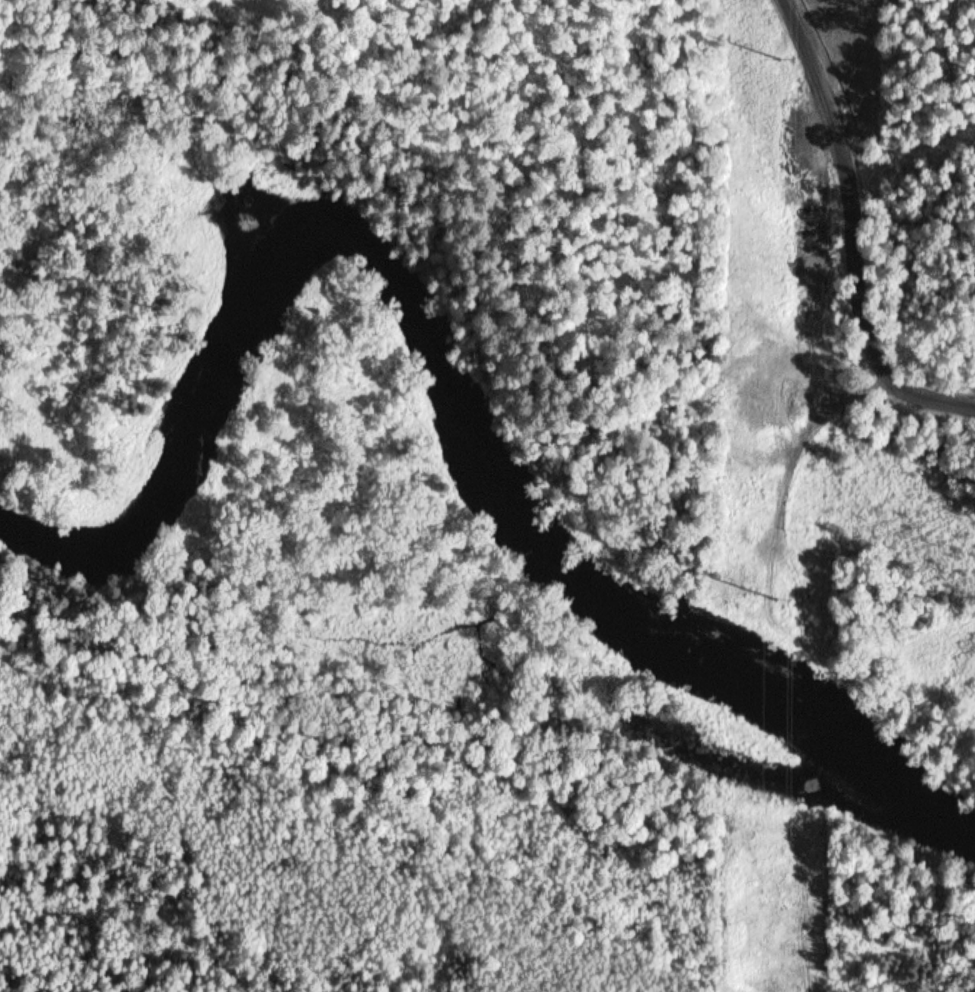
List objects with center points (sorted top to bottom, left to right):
power tower: (781, 56)
road: (858, 233)
river: (466, 360)
power tower: (775, 601)

